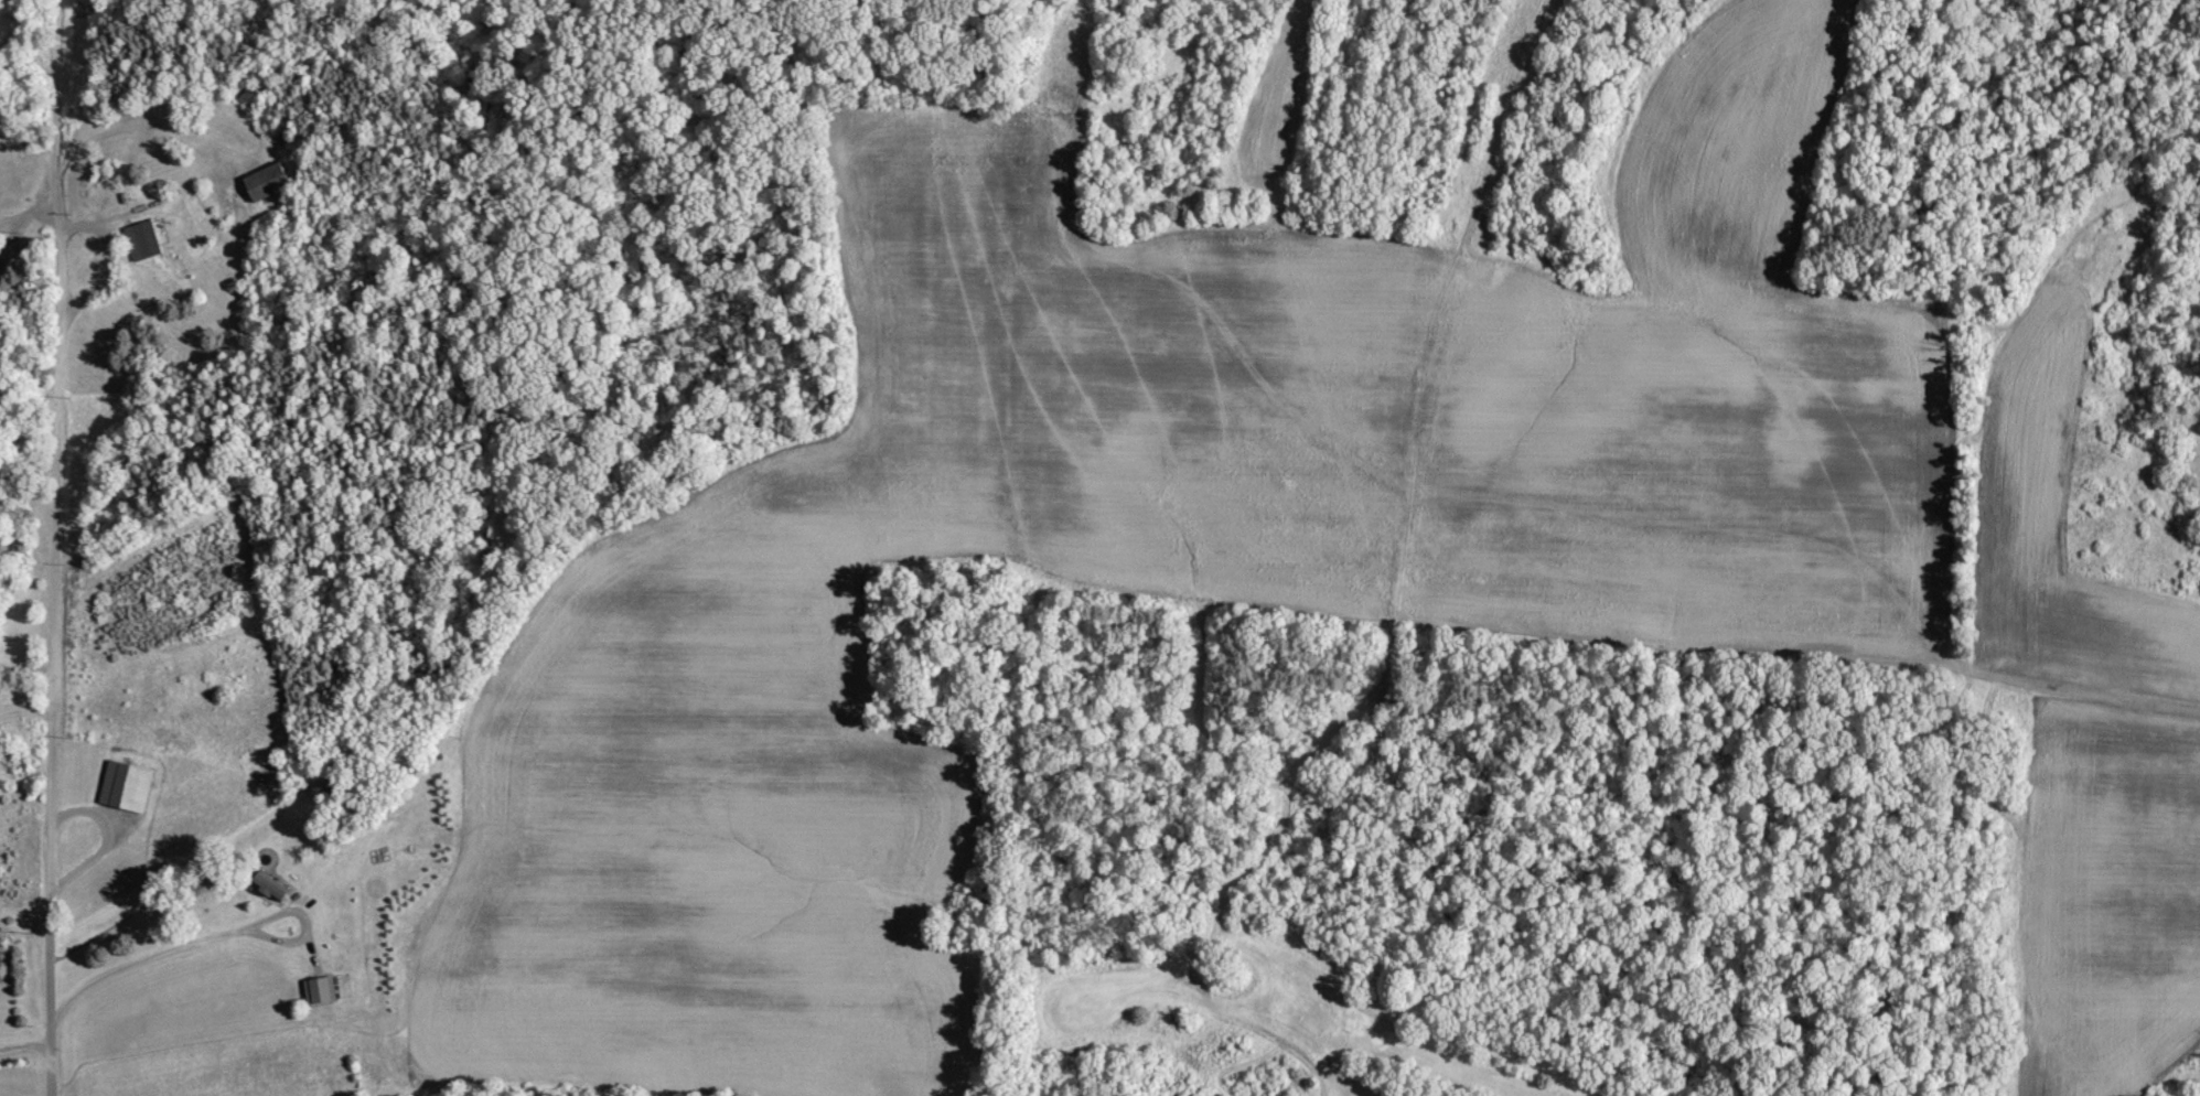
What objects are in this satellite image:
road: (100, 114)
building: (269, 183)
building: (143, 241)
road: (1616, 507)
road: (55, 548)
road: (28, 663)
road: (26, 705)
building: (128, 786)
building: (271, 888)
road: (167, 945)
building: (322, 989)
road: (24, 1043)

